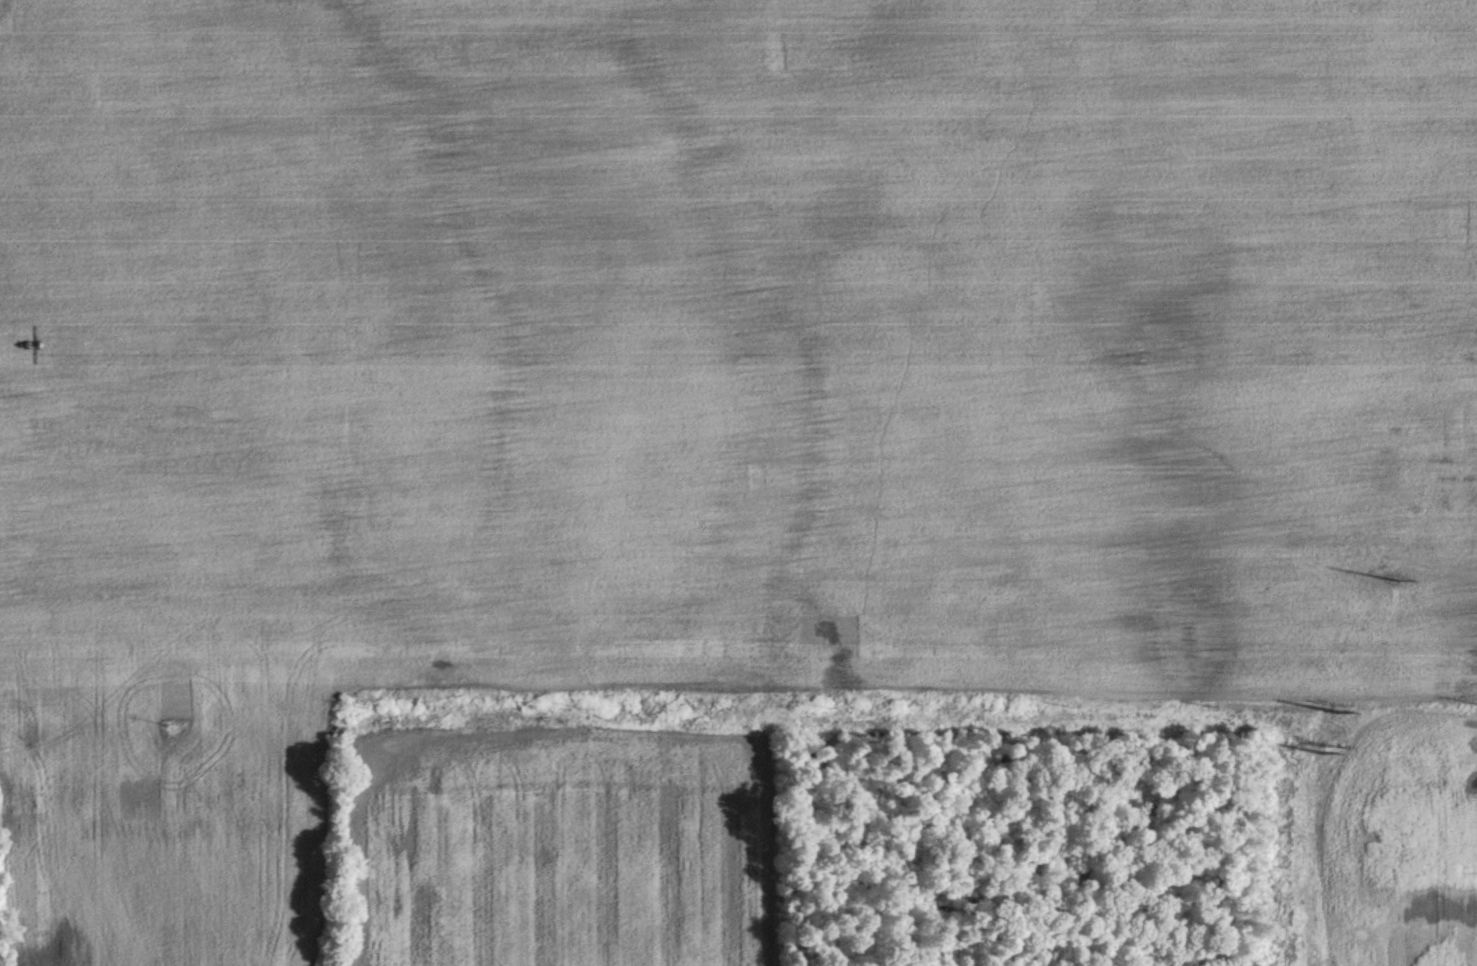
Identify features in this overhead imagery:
power tower: (1344, 712)
power tower: (1330, 751)

